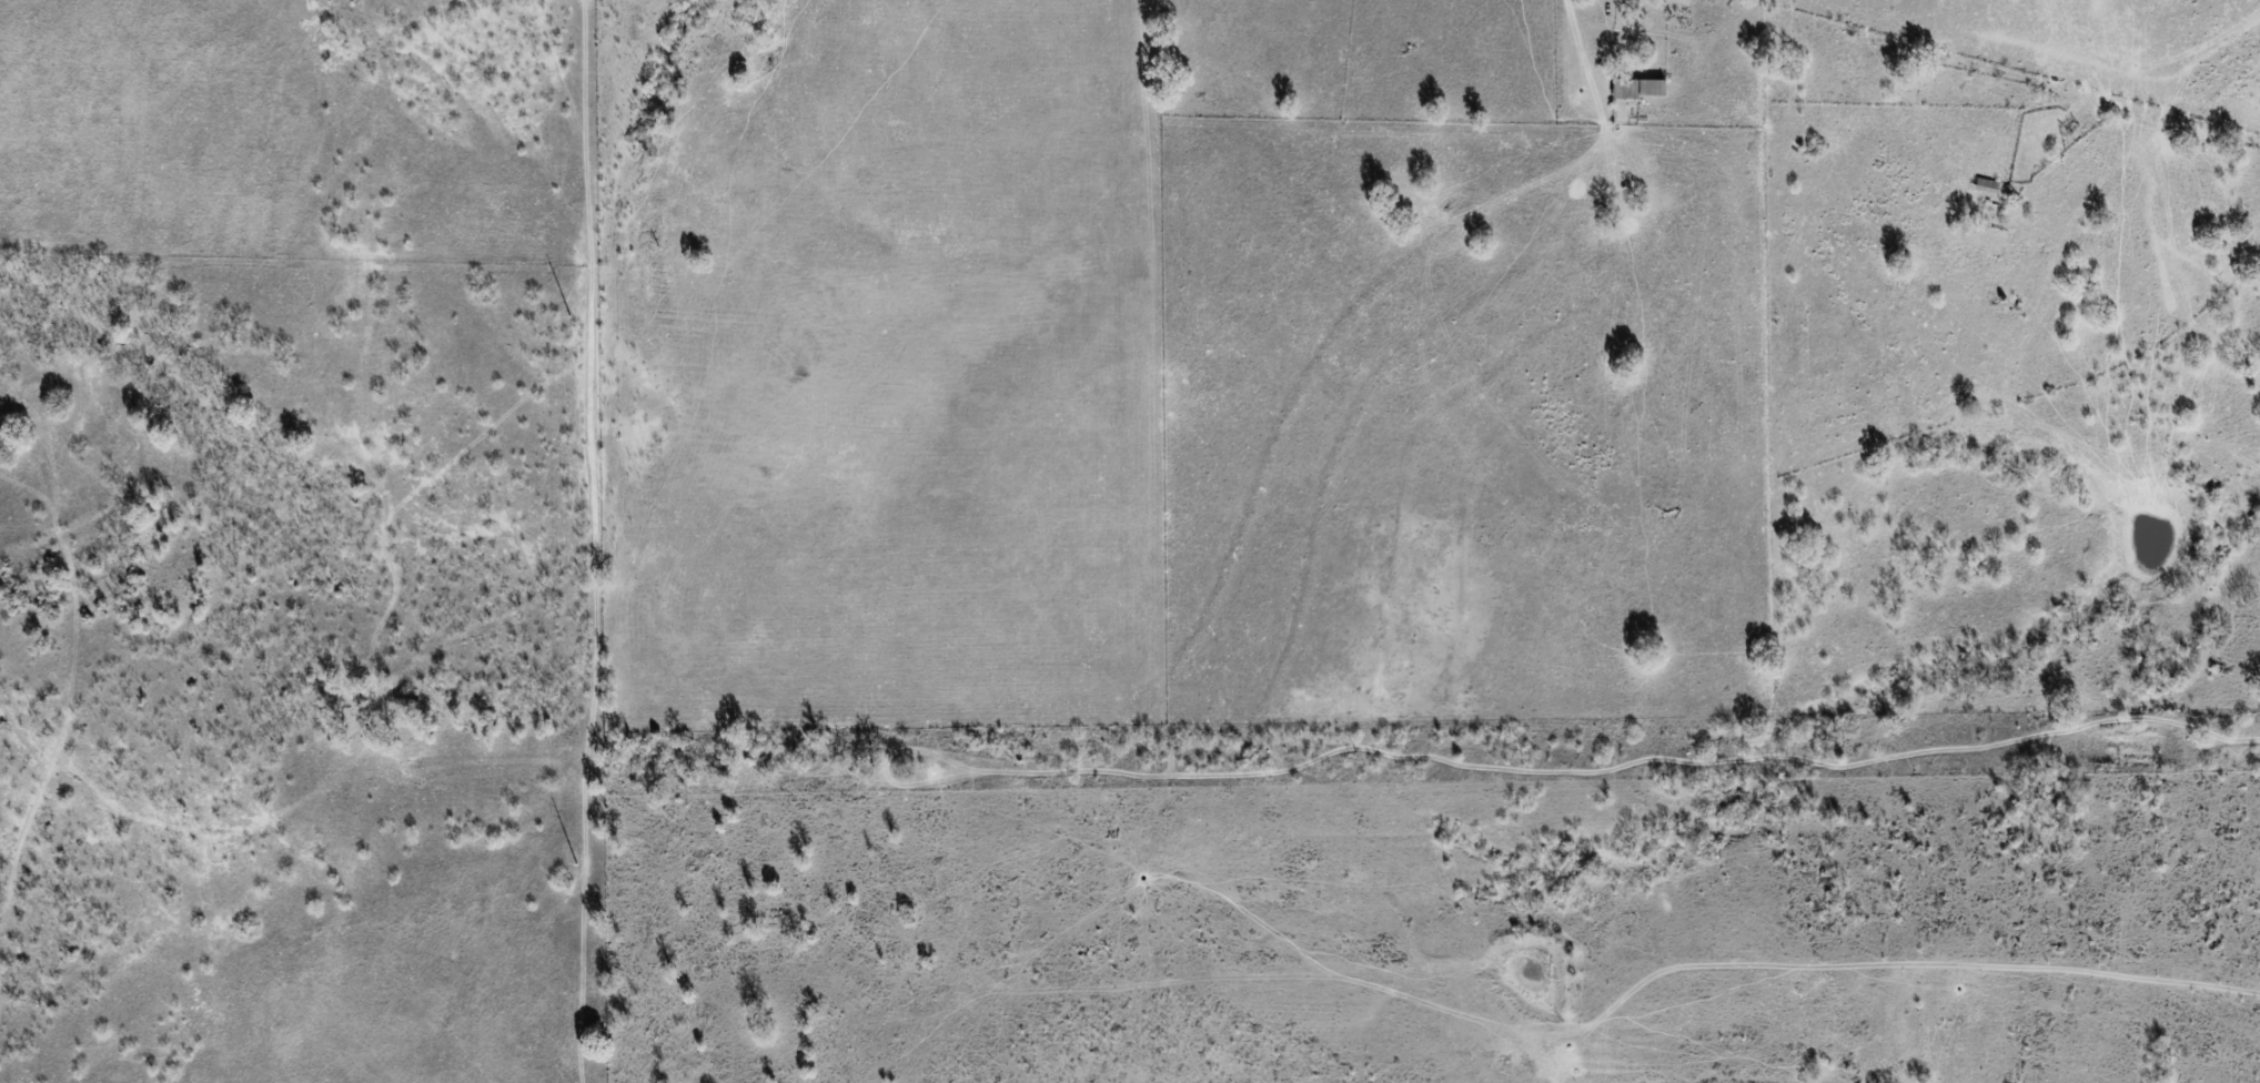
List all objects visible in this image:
power tower: (568, 316)
power tower: (576, 866)

